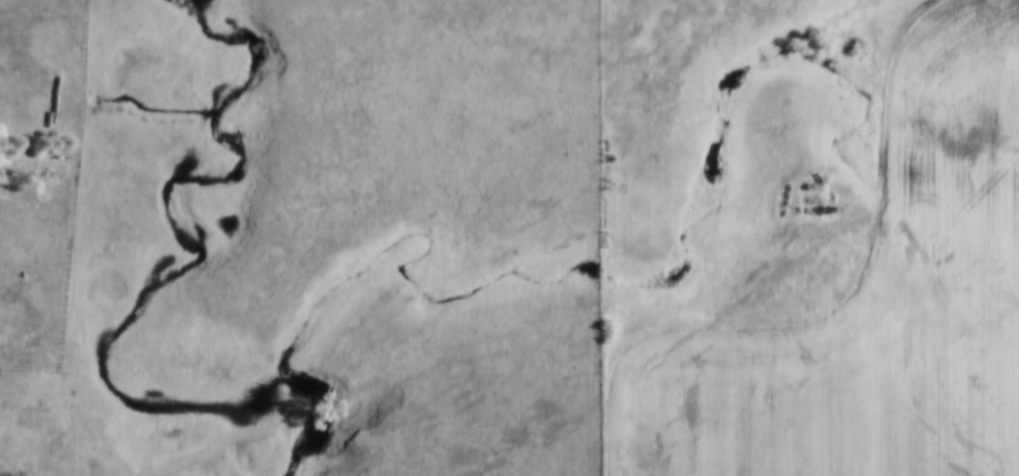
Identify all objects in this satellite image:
building: (36, 329)
building: (18, 467)

